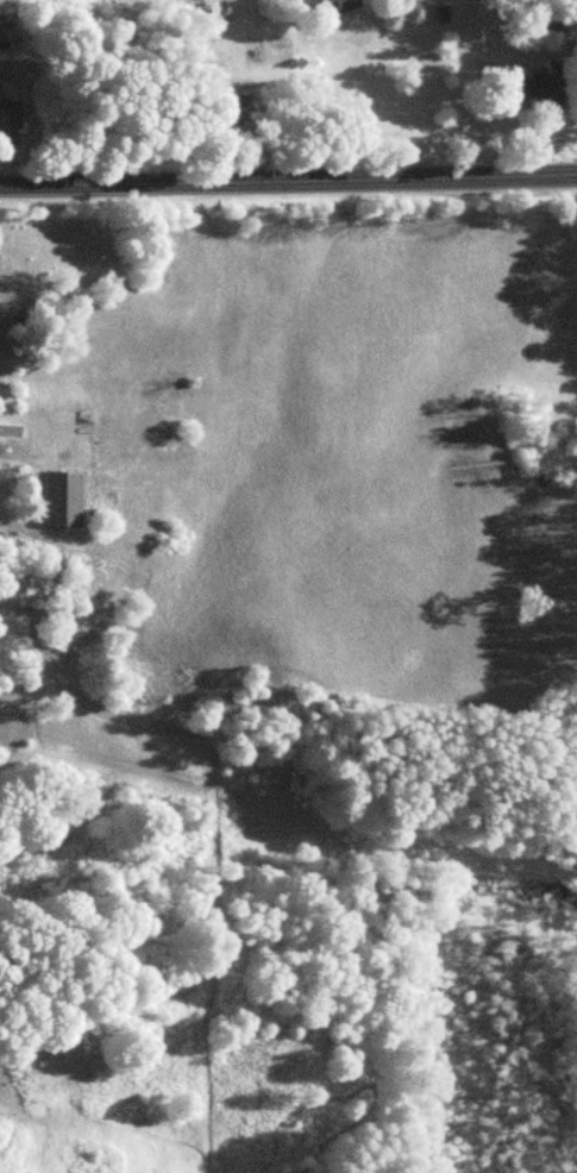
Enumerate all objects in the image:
building: (344, 5)
building: (540, 83)
building: (13, 112)
road: (288, 177)
building: (68, 496)

